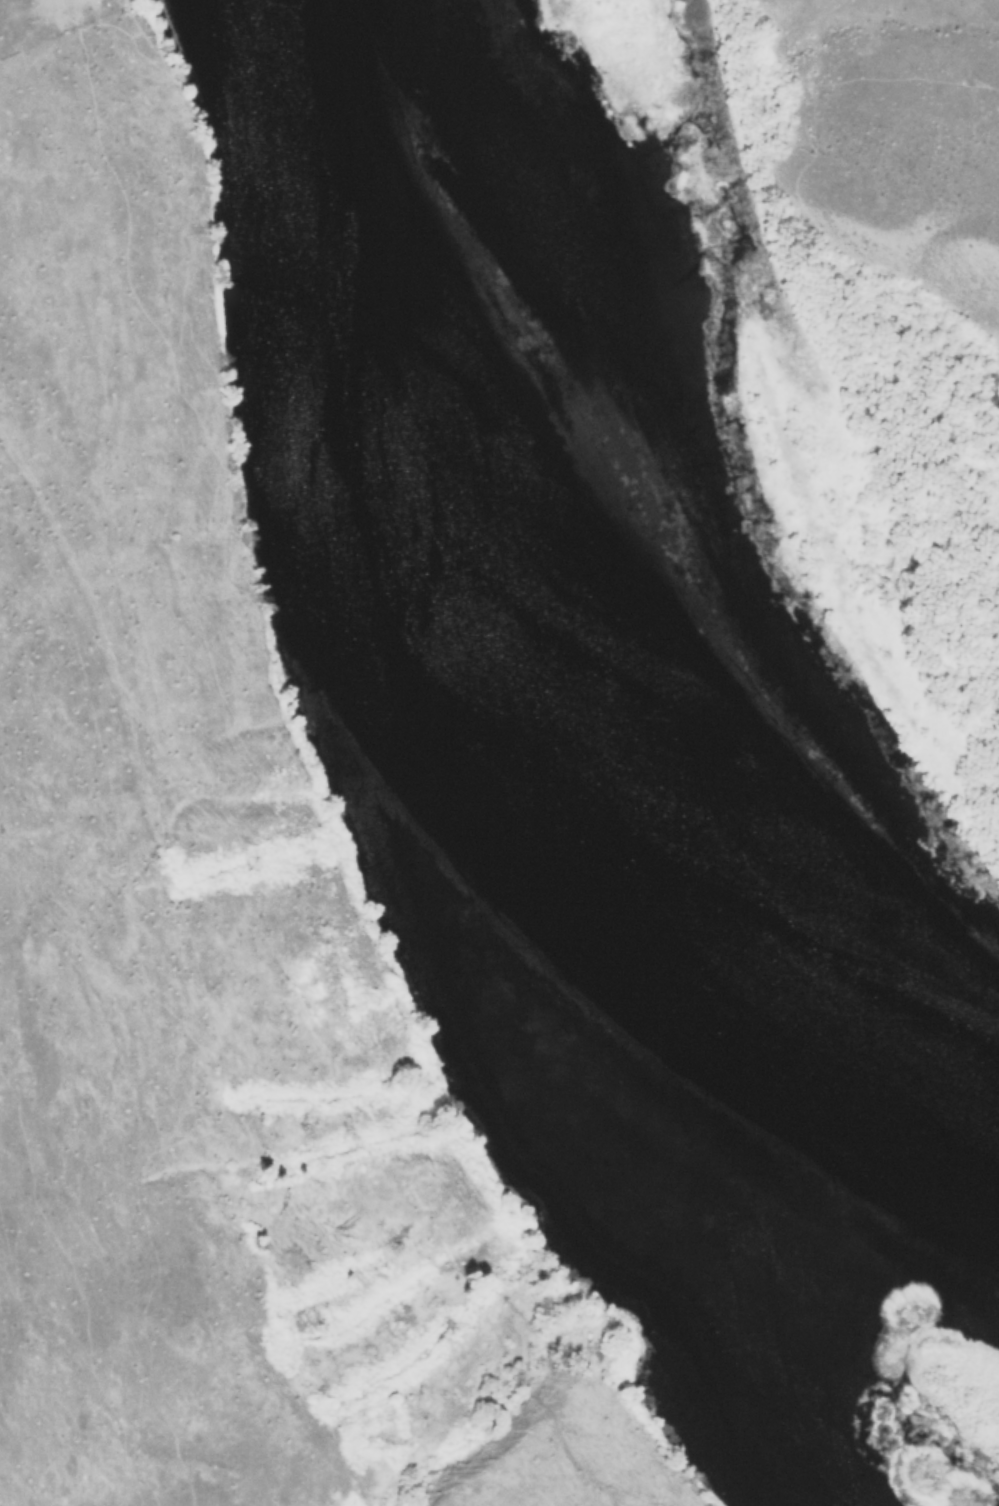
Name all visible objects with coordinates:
river: (451, 708)

